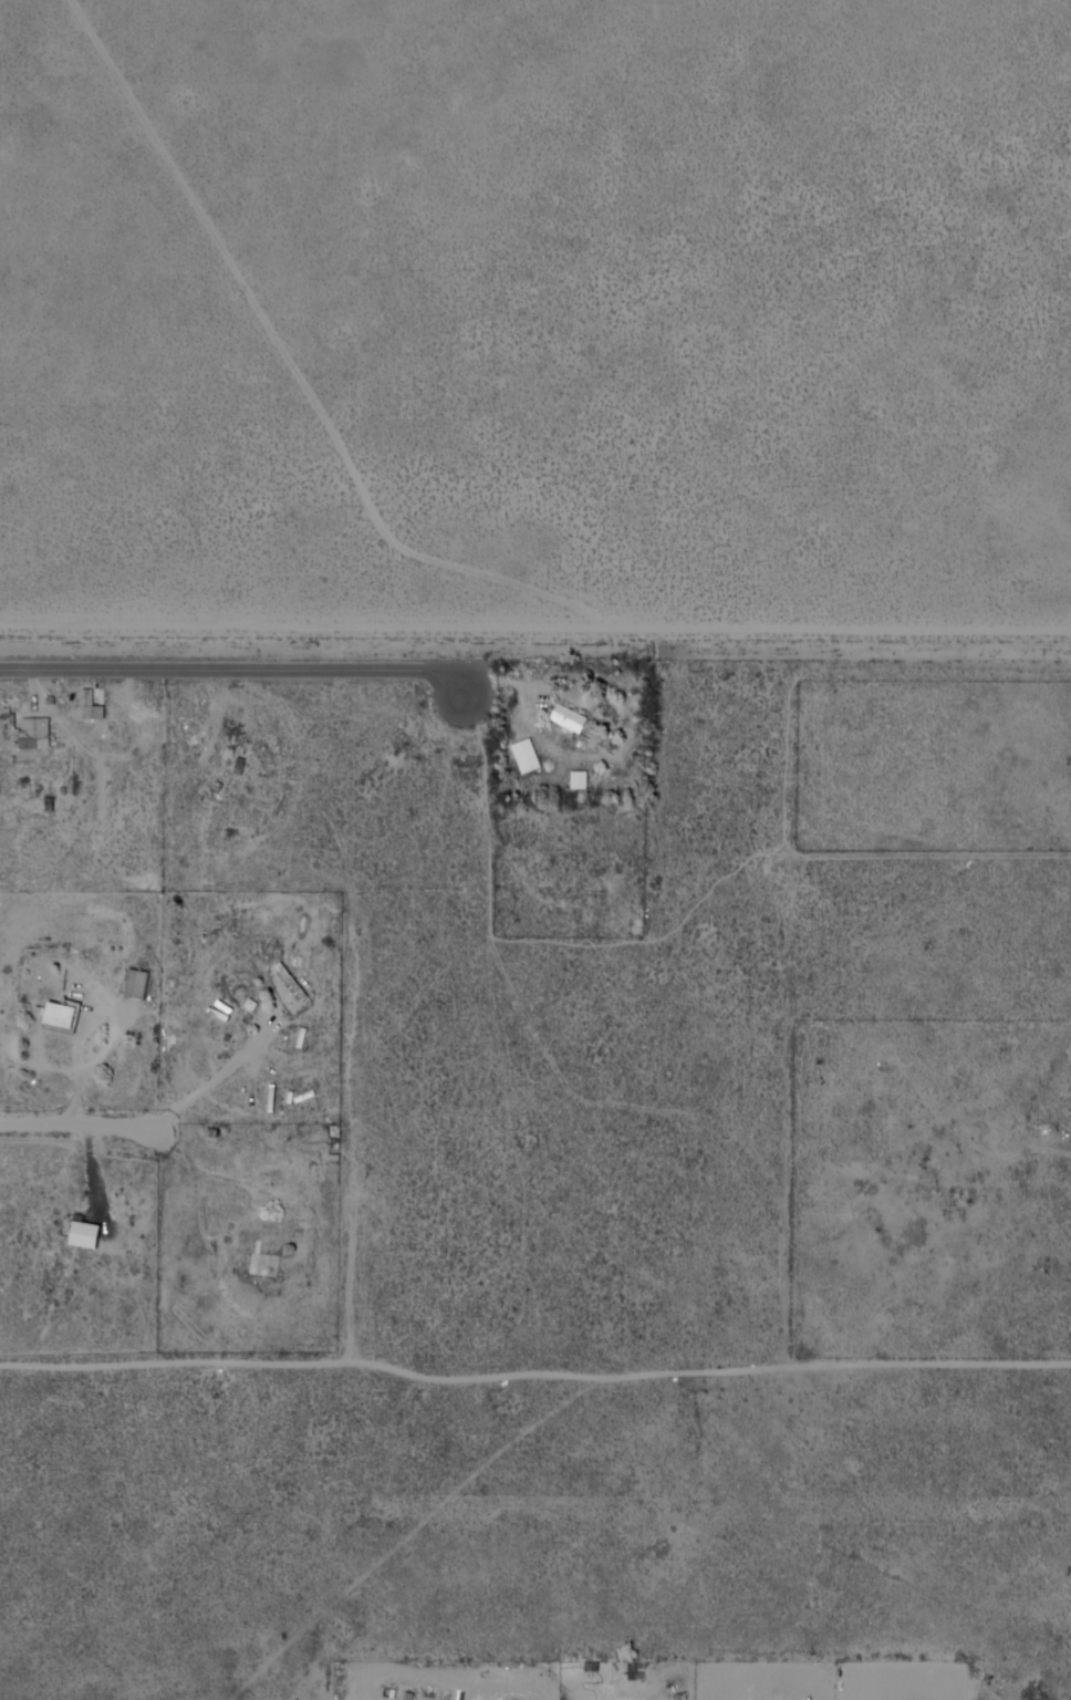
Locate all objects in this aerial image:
road: (237, 662)
building: (95, 706)
building: (573, 717)
building: (39, 723)
building: (578, 779)
building: (635, 920)
building: (293, 982)
building: (62, 1013)
road: (82, 1130)
building: (86, 1234)
building: (270, 1262)
building: (387, 1692)

